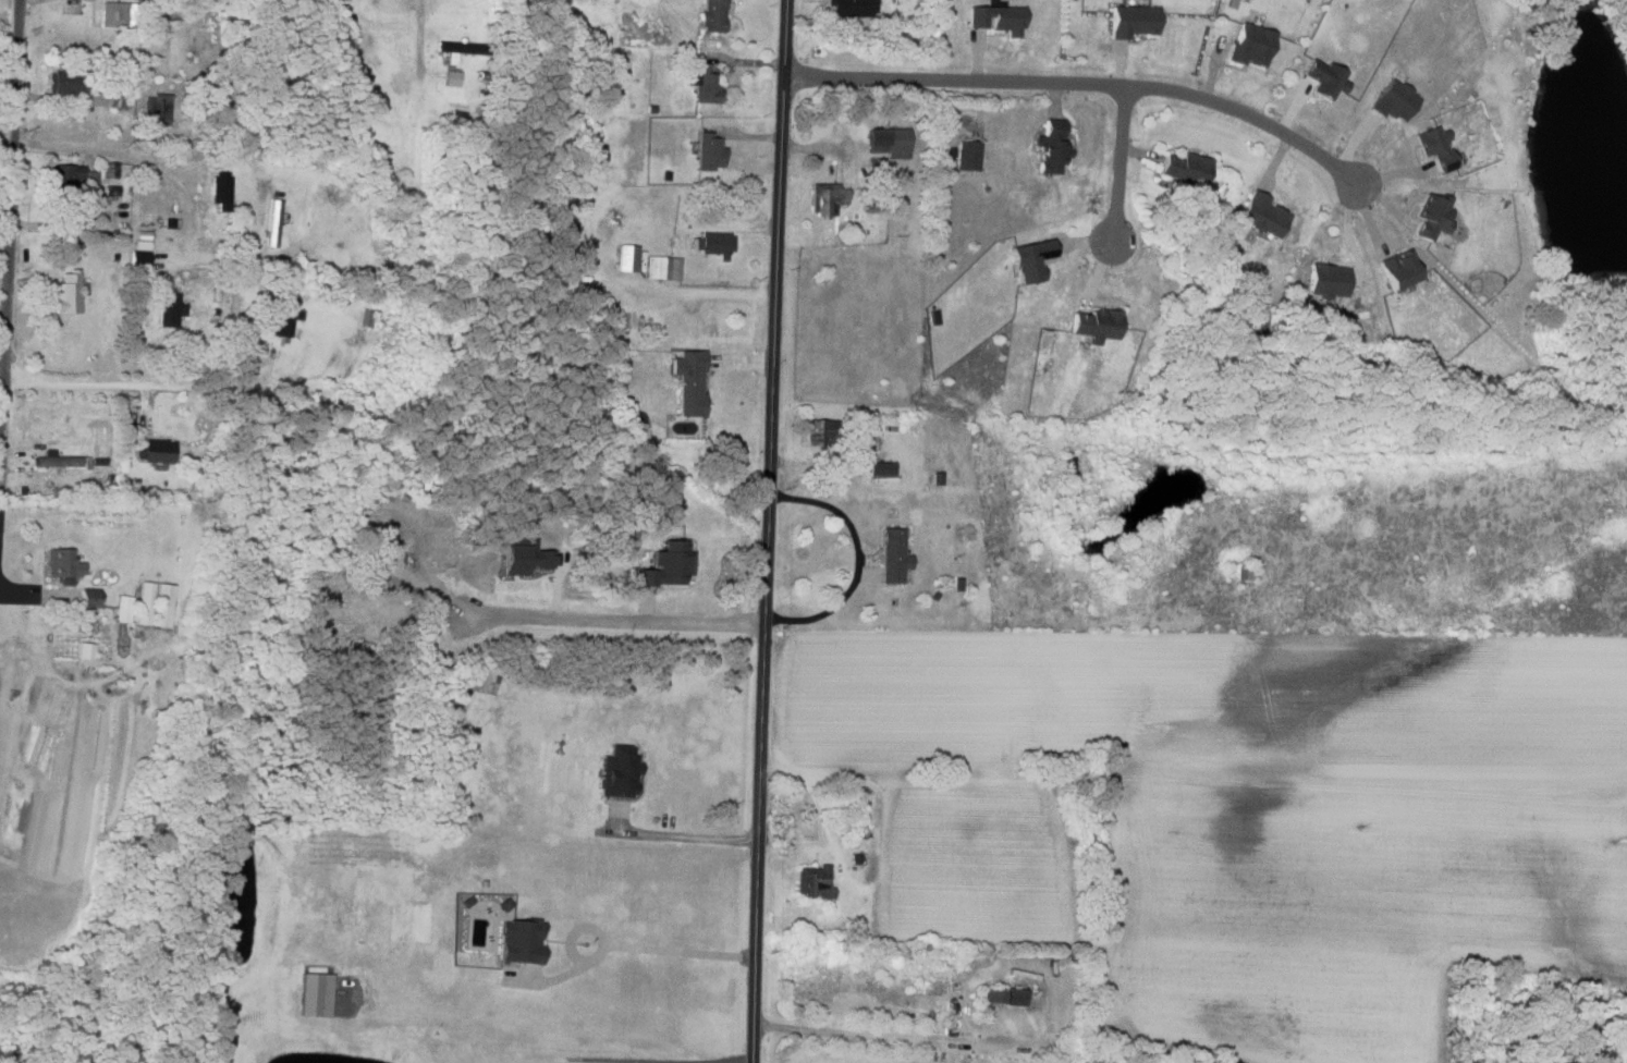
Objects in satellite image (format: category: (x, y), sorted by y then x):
building: (848, 8)
building: (117, 14)
building: (712, 16)
building: (996, 20)
building: (1131, 22)
road: (419, 42)
building: (1251, 46)
building: (455, 49)
building: (453, 78)
building: (1325, 80)
road: (1077, 81)
building: (60, 83)
building: (704, 85)
road: (51, 102)
building: (1395, 102)
building: (157, 110)
building: (889, 142)
building: (1436, 148)
building: (1051, 151)
building: (709, 152)
building: (968, 156)
road: (1118, 162)
road: (134, 163)
building: (1186, 169)
building: (111, 170)
building: (111, 191)
road: (8, 192)
building: (221, 192)
building: (827, 198)
building: (1262, 216)
building: (1433, 218)
building: (714, 244)
building: (142, 247)
building: (625, 258)
building: (1032, 260)
building: (661, 268)
building: (1398, 271)
building: (1326, 282)
road: (700, 289)
building: (170, 310)
building: (286, 316)
building: (1097, 326)
building: (688, 383)
road: (142, 393)
building: (819, 431)
building: (156, 450)
building: (56, 460)
building: (880, 467)
road: (763, 531)
building: (893, 554)
road: (857, 559)
building: (63, 564)
building: (663, 564)
building: (87, 597)
building: (146, 602)
building: (164, 604)
building: (125, 608)
road: (611, 620)
building: (86, 650)
building: (617, 771)
road: (1194, 787)
road: (684, 835)
building: (815, 881)
building: (519, 941)
road: (670, 951)
building: (314, 994)
building: (1004, 995)
road: (879, 1034)
road: (500, 1051)

